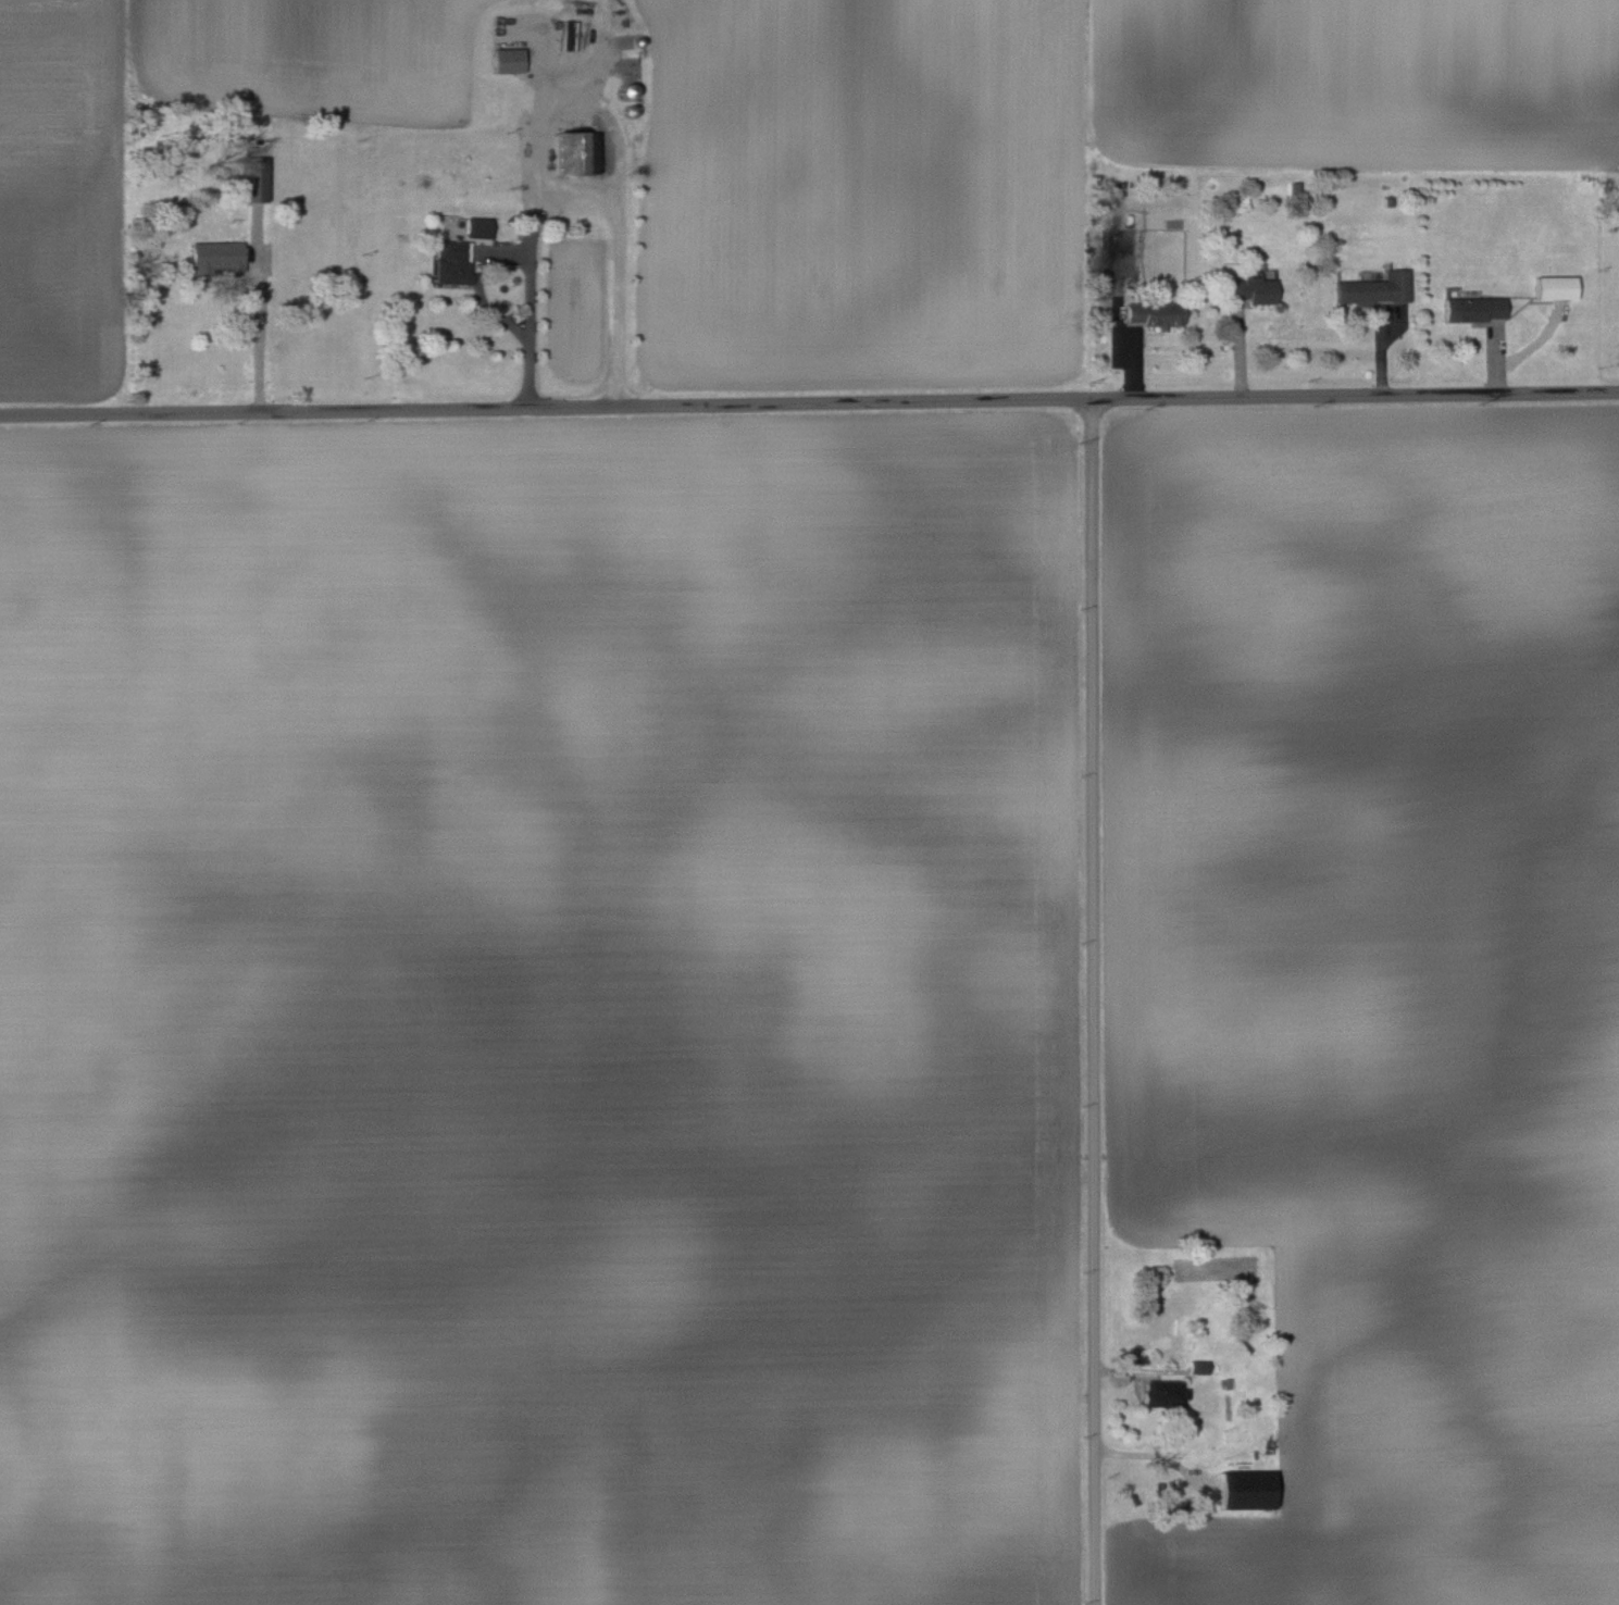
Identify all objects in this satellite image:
road: (547, 57)
building: (506, 61)
road: (568, 102)
building: (576, 153)
building: (252, 179)
road: (578, 186)
building: (475, 226)
building: (1116, 252)
building: (215, 256)
building: (450, 261)
road: (476, 281)
building: (1555, 286)
building: (1253, 287)
building: (1374, 288)
building: (1474, 308)
building: (1155, 311)
road: (260, 340)
road: (810, 405)
road: (1088, 1004)
building: (1197, 1367)
building: (1160, 1393)
building: (1245, 1490)

